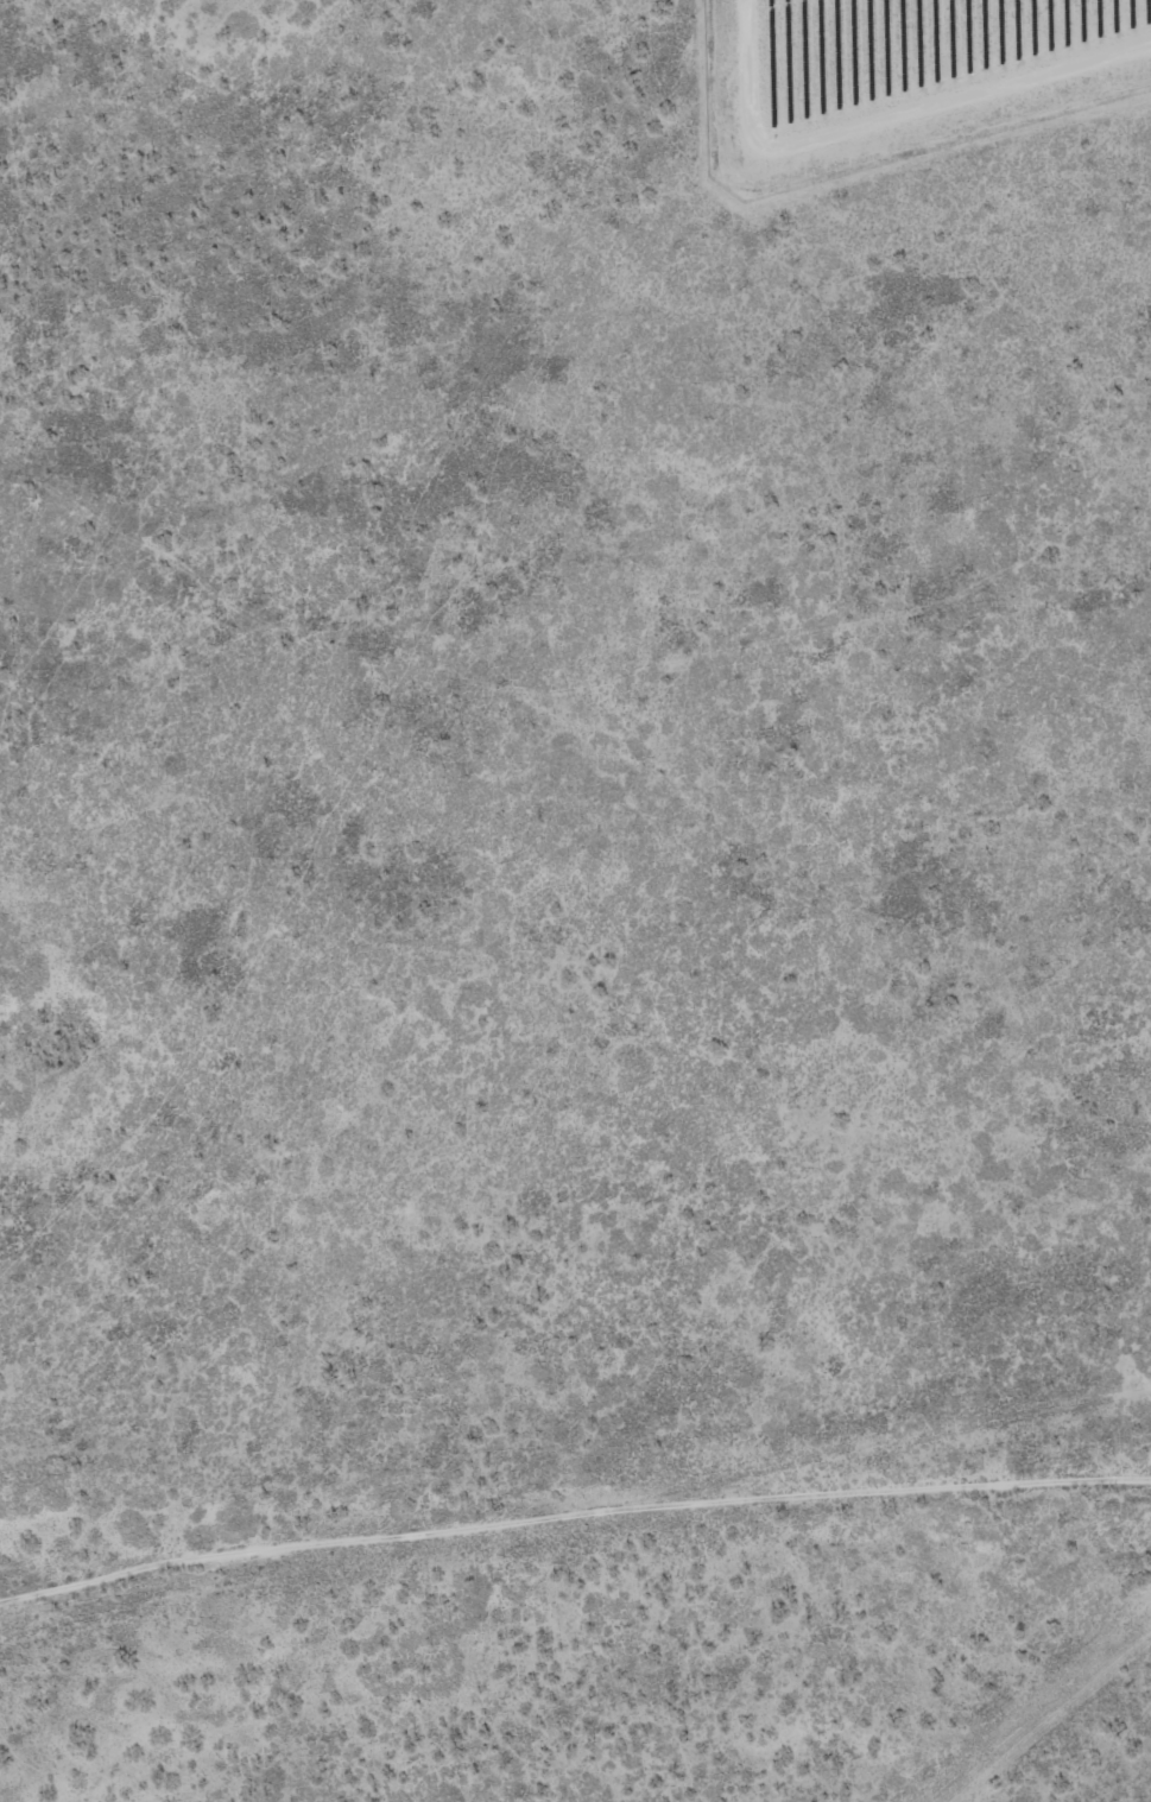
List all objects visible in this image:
solar farm: (900, 76)

